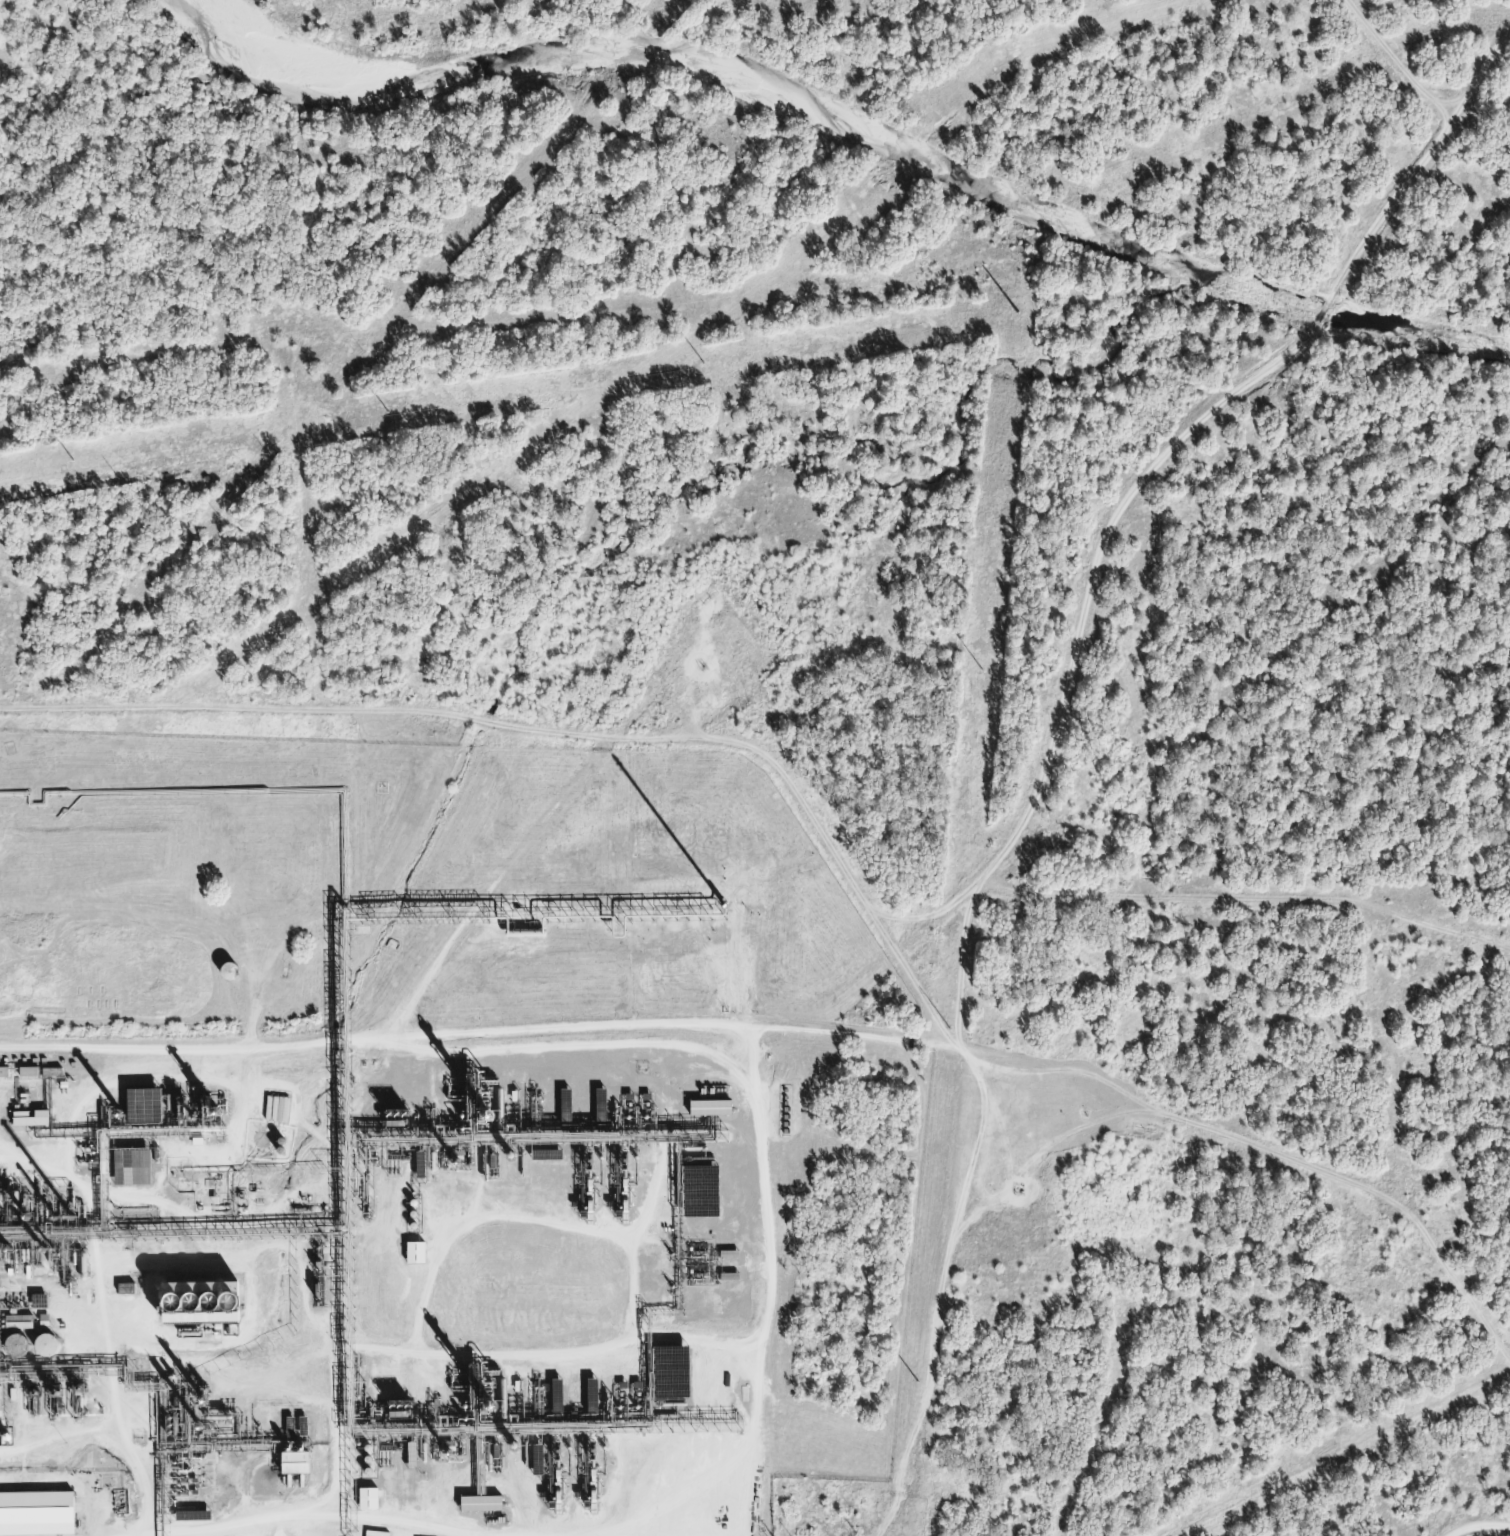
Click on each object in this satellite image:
road: (1402, 58)
road: (1184, 431)
road: (1076, 891)
road: (720, 1022)
building: (132, 1105)
road: (239, 1139)
building: (121, 1167)
road: (214, 1232)
building: (117, 1288)
building: (200, 1301)
road: (752, 1310)
building: (10, 1322)
road: (121, 1385)
road: (768, 1451)
building: (285, 1463)
building: (31, 1508)
road: (1479, 1533)

